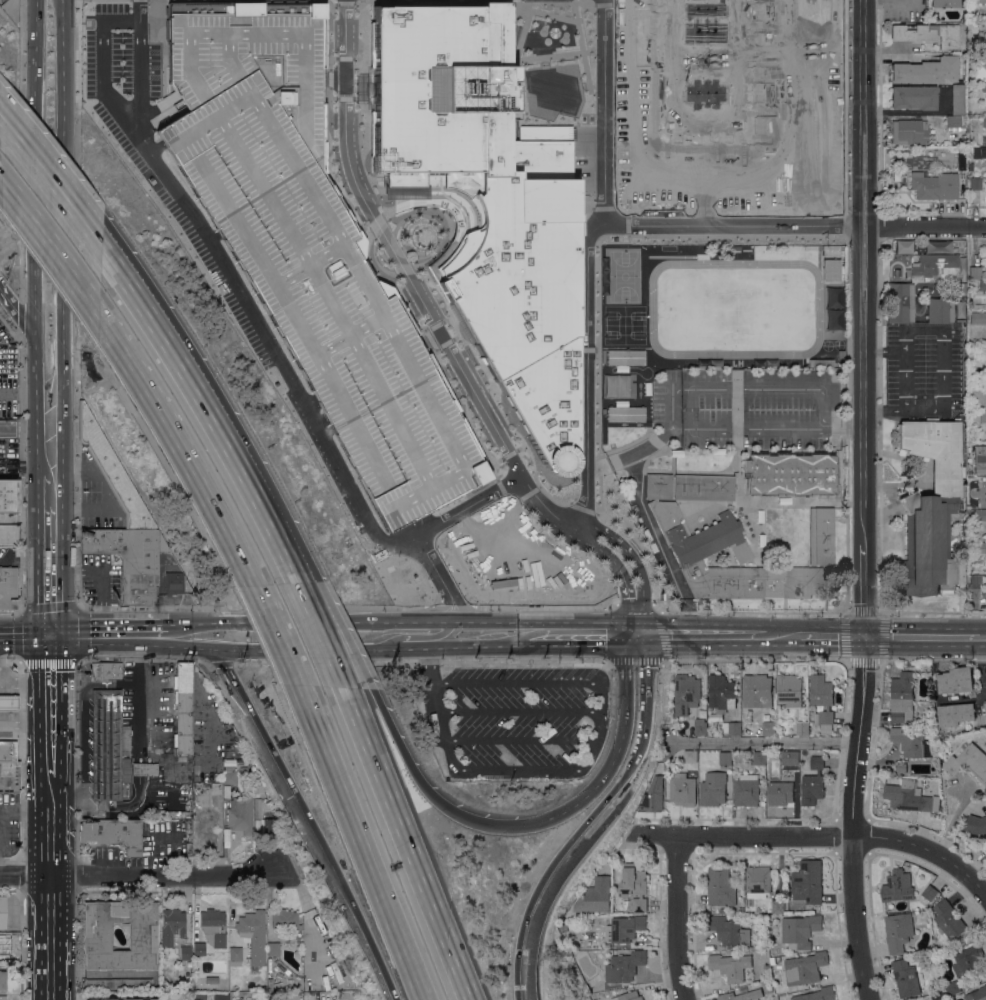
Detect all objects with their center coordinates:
road: (892, 0)
building: (979, 1)
building: (944, 3)
road: (226, 15)
building: (983, 29)
building: (927, 34)
road: (889, 50)
building: (927, 70)
building: (984, 88)
building: (914, 97)
building: (958, 100)
building: (728, 103)
road: (914, 111)
road: (912, 117)
building: (984, 121)
building: (956, 122)
building: (909, 132)
building: (962, 138)
building: (961, 150)
building: (979, 151)
road: (37, 163)
road: (63, 167)
building: (975, 183)
road: (51, 185)
building: (934, 185)
building: (485, 202)
road: (584, 221)
road: (728, 225)
road: (926, 229)
road: (49, 241)
building: (698, 248)
building: (307, 250)
building: (933, 265)
building: (832, 270)
building: (974, 272)
building: (982, 285)
parking lot: (355, 298)
building: (900, 302)
building: (940, 309)
road: (16, 310)
road: (866, 318)
building: (978, 318)
road: (255, 320)
building: (833, 321)
road: (444, 343)
building: (984, 351)
building: (841, 355)
building: (626, 357)
road: (175, 360)
road: (36, 363)
building: (821, 363)
road: (64, 366)
road: (584, 373)
building: (614, 385)
building: (978, 385)
road: (25, 396)
road: (679, 396)
building: (626, 413)
building: (973, 416)
building: (983, 416)
road: (846, 424)
building: (8, 428)
road: (51, 433)
road: (182, 441)
building: (985, 451)
road: (20, 470)
building: (113, 473)
building: (791, 475)
building: (659, 486)
building: (704, 487)
road: (51, 490)
building: (985, 490)
road: (105, 491)
building: (8, 495)
road: (466, 507)
building: (930, 508)
building: (983, 514)
building: (973, 515)
road: (267, 528)
road: (276, 528)
building: (8, 535)
building: (821, 536)
building: (979, 547)
building: (693, 552)
building: (130, 560)
road: (52, 570)
building: (171, 573)
road: (102, 579)
building: (975, 582)
building: (7, 587)
road: (452, 594)
road: (457, 611)
road: (400, 620)
road: (487, 620)
road: (206, 621)
road: (298, 621)
road: (228, 629)
road: (527, 629)
road: (451, 633)
road: (318, 634)
road: (110, 635)
road: (277, 635)
road: (26, 636)
traffic signals: (52, 636)
road: (342, 636)
road: (585, 637)
traffic signals: (638, 637)
road: (703, 637)
road: (786, 637)
road: (835, 637)
traffic signals: (866, 637)
road: (922, 637)
road: (982, 638)
road: (527, 641)
road: (662, 641)
road: (192, 644)
road: (333, 646)
road: (486, 646)
road: (24, 661)
road: (420, 661)
road: (220, 662)
road: (648, 664)
road: (428, 666)
road: (625, 668)
building: (110, 669)
building: (956, 680)
road: (517, 681)
road: (50, 690)
building: (757, 690)
building: (790, 690)
road: (936, 691)
road: (76, 692)
building: (686, 693)
building: (721, 693)
road: (602, 694)
building: (822, 697)
building: (902, 697)
building: (8, 702)
building: (985, 703)
building: (183, 709)
road: (519, 709)
building: (956, 714)
road: (84, 717)
parking lot: (514, 718)
road: (144, 723)
road: (439, 723)
road: (600, 724)
road: (7, 728)
building: (701, 728)
building: (731, 728)
building: (769, 728)
building: (802, 728)
building: (691, 730)
building: (746, 731)
road: (642, 736)
road: (857, 736)
road: (520, 738)
building: (913, 743)
road: (765, 744)
building: (109, 747)
road: (140, 753)
road: (144, 753)
road: (592, 756)
building: (690, 756)
building: (725, 758)
building: (759, 758)
building: (790, 758)
building: (968, 762)
road: (50, 764)
road: (137, 768)
building: (143, 768)
road: (145, 768)
road: (515, 768)
building: (914, 768)
road: (603, 774)
building: (229, 775)
building: (8, 777)
road: (284, 777)
building: (257, 780)
road: (139, 783)
road: (143, 783)
building: (813, 783)
building: (714, 788)
building: (985, 789)
building: (682, 790)
building: (746, 790)
building: (0, 791)
building: (780, 793)
building: (653, 794)
road: (430, 795)
road: (613, 795)
building: (257, 796)
building: (910, 797)
building: (257, 808)
road: (101, 810)
road: (0, 813)
building: (241, 813)
building: (976, 824)
road: (51, 827)
building: (269, 828)
building: (112, 834)
road: (744, 835)
road: (405, 843)
road: (360, 844)
road: (570, 848)
building: (985, 848)
road: (926, 852)
road: (139, 872)
building: (758, 881)
building: (808, 882)
building: (898, 886)
building: (720, 887)
building: (634, 888)
building: (930, 892)
building: (595, 896)
road: (51, 902)
building: (778, 907)
building: (722, 910)
building: (741, 910)
building: (2, 912)
road: (676, 917)
building: (285, 919)
road: (852, 919)
building: (948, 920)
building: (172, 925)
building: (213, 927)
building: (624, 929)
building: (729, 931)
building: (800, 931)
building: (898, 932)
building: (253, 935)
building: (143, 936)
road: (524, 940)
building: (199, 949)
building: (273, 949)
building: (185, 952)
building: (2, 954)
road: (375, 954)
building: (235, 956)
building: (772, 959)
building: (968, 961)
road: (51, 965)
building: (624, 966)
building: (730, 966)
building: (803, 969)
building: (906, 978)
building: (3, 980)
building: (210, 980)
building: (122, 984)
building: (952, 987)
building: (259, 988)
building: (818, 994)
building: (977, 994)
building: (628, 996)
building: (742, 996)
building: (938, 996)
building: (3, 997)
building: (220, 997)
building: (127, 999)

